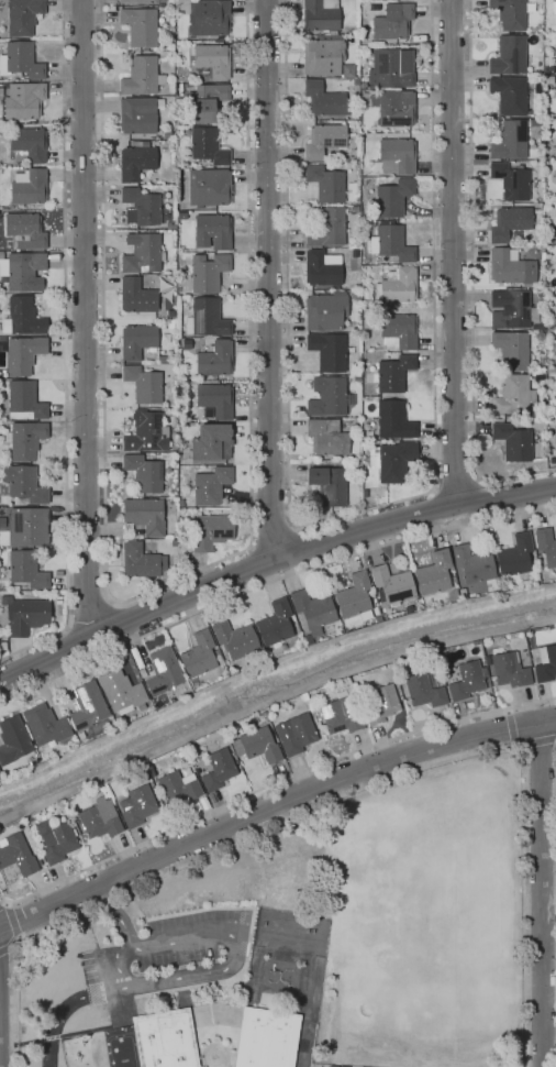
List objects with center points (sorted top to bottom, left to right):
building: (138, 1)
building: (554, 8)
building: (509, 13)
building: (320, 15)
building: (21, 16)
building: (208, 18)
building: (392, 23)
building: (140, 25)
building: (508, 55)
building: (321, 56)
building: (20, 61)
building: (211, 62)
building: (388, 69)
building: (141, 77)
building: (554, 91)
building: (508, 95)
building: (323, 99)
building: (24, 102)
building: (203, 102)
building: (396, 109)
building: (137, 114)
building: (165, 134)
building: (322, 141)
building: (509, 141)
building: (29, 143)
building: (207, 146)
building: (396, 156)
building: (135, 162)
building: (554, 176)
building: (510, 182)
building: (325, 184)
building: (27, 187)
building: (208, 187)
building: (391, 197)
building: (140, 207)
building: (555, 213)
building: (508, 222)
building: (169, 226)
building: (326, 228)
building: (24, 231)
building: (211, 231)
building: (390, 242)
building: (141, 252)
road: (453, 253)
building: (505, 267)
building: (321, 268)
building: (21, 271)
building: (205, 272)
road: (470, 277)
road: (267, 279)
building: (396, 286)
building: (355, 295)
building: (135, 296)
building: (512, 309)
building: (324, 311)
building: (21, 318)
road: (85, 318)
building: (204, 318)
building: (526, 328)
building: (397, 332)
building: (537, 335)
building: (136, 341)
building: (553, 346)
road: (63, 350)
building: (510, 350)
building: (327, 351)
building: (21, 354)
building: (214, 359)
building: (540, 359)
building: (548, 369)
building: (391, 373)
building: (142, 384)
building: (512, 396)
building: (327, 398)
building: (22, 402)
building: (213, 402)
building: (392, 420)
building: (145, 432)
building: (555, 436)
building: (325, 437)
building: (23, 439)
building: (211, 442)
building: (511, 442)
building: (391, 461)
building: (143, 473)
road: (477, 479)
building: (210, 485)
building: (327, 485)
building: (21, 486)
road: (456, 486)
road: (434, 491)
building: (144, 515)
road: (345, 515)
building: (27, 526)
road: (292, 526)
building: (210, 531)
road: (273, 538)
road: (251, 547)
building: (546, 547)
building: (514, 557)
building: (141, 561)
road: (270, 562)
building: (471, 566)
building: (25, 570)
building: (432, 573)
road: (270, 583)
building: (391, 584)
road: (155, 587)
building: (462, 594)
building: (2, 596)
building: (353, 597)
road: (112, 602)
building: (2, 605)
building: (311, 614)
building: (26, 616)
road: (90, 616)
building: (274, 624)
road: (67, 629)
building: (233, 639)
building: (198, 654)
building: (545, 663)
building: (508, 670)
building: (162, 671)
building: (466, 681)
building: (424, 689)
building: (120, 692)
building: (303, 696)
road: (270, 698)
building: (380, 705)
building: (87, 706)
building: (338, 717)
building: (44, 725)
road: (509, 726)
building: (298, 735)
building: (12, 739)
road: (537, 744)
building: (255, 745)
building: (148, 768)
building: (218, 769)
road: (269, 783)
building: (178, 787)
road: (352, 788)
building: (135, 806)
road: (270, 806)
building: (98, 818)
building: (56, 843)
building: (16, 855)
road: (538, 894)
park: (426, 901)
road: (11, 916)
road: (118, 917)
road: (4, 952)
parking lot: (167, 956)
road: (216, 971)
building: (164, 1038)
building: (265, 1038)

